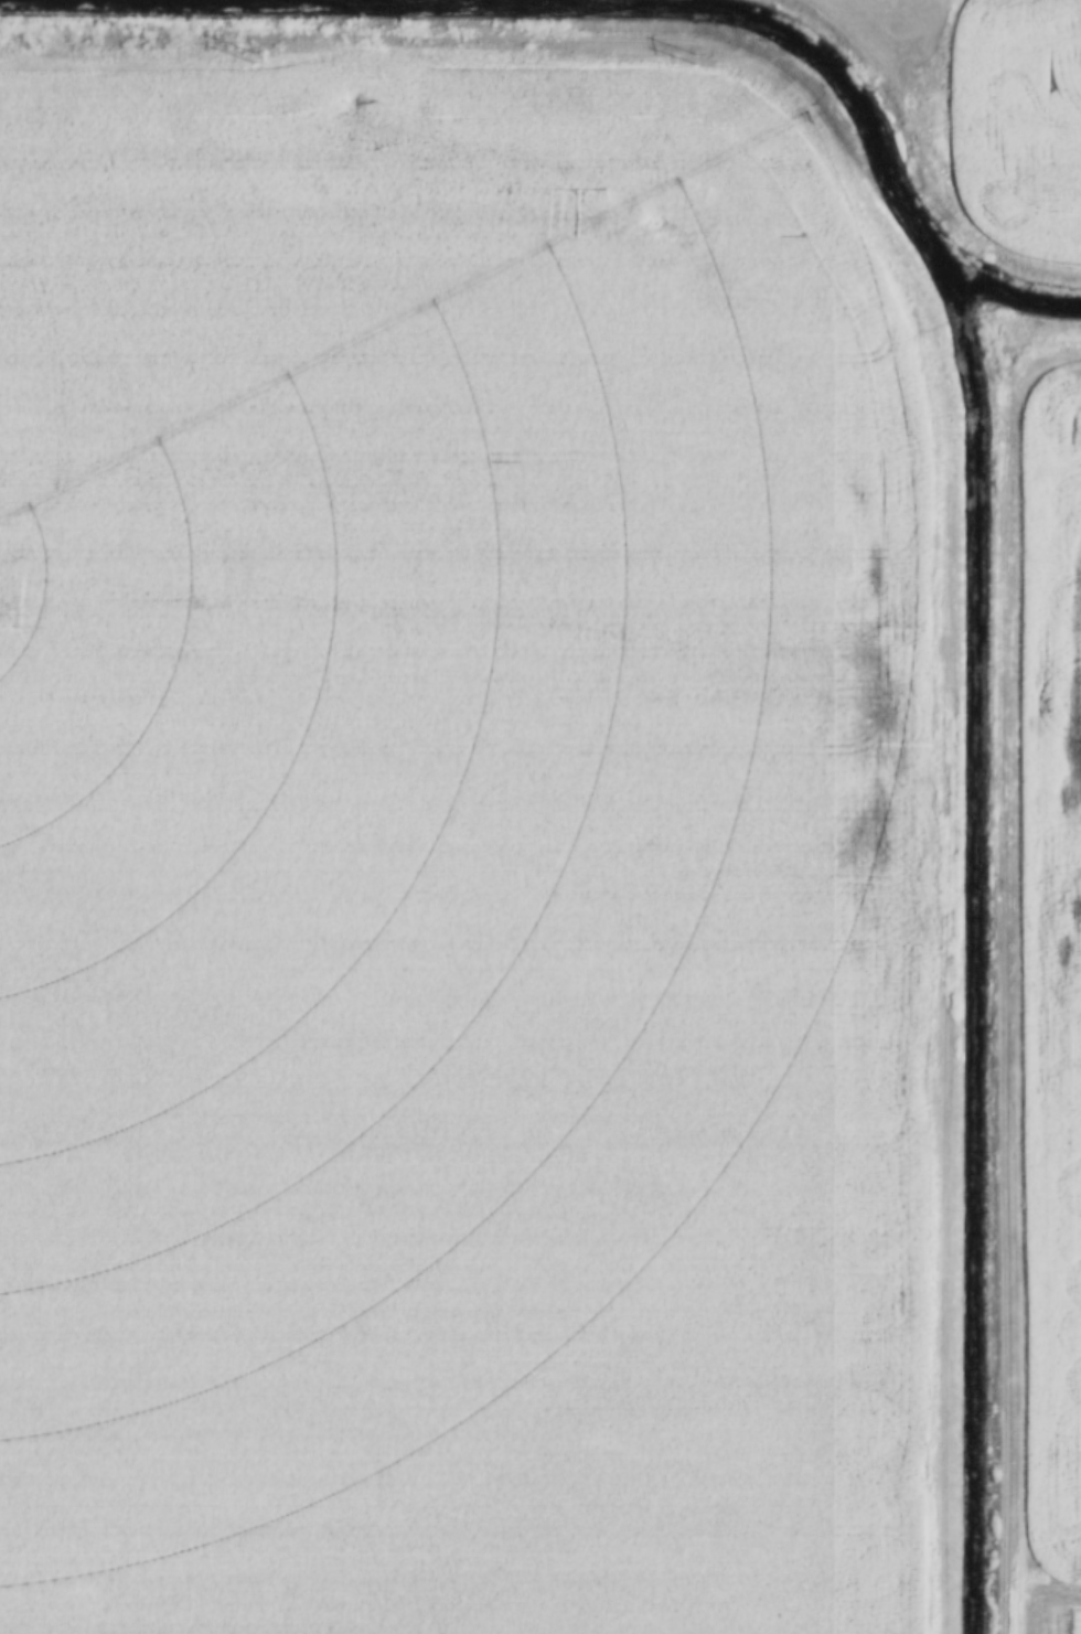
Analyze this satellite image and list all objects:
power tower: (545, 61)

